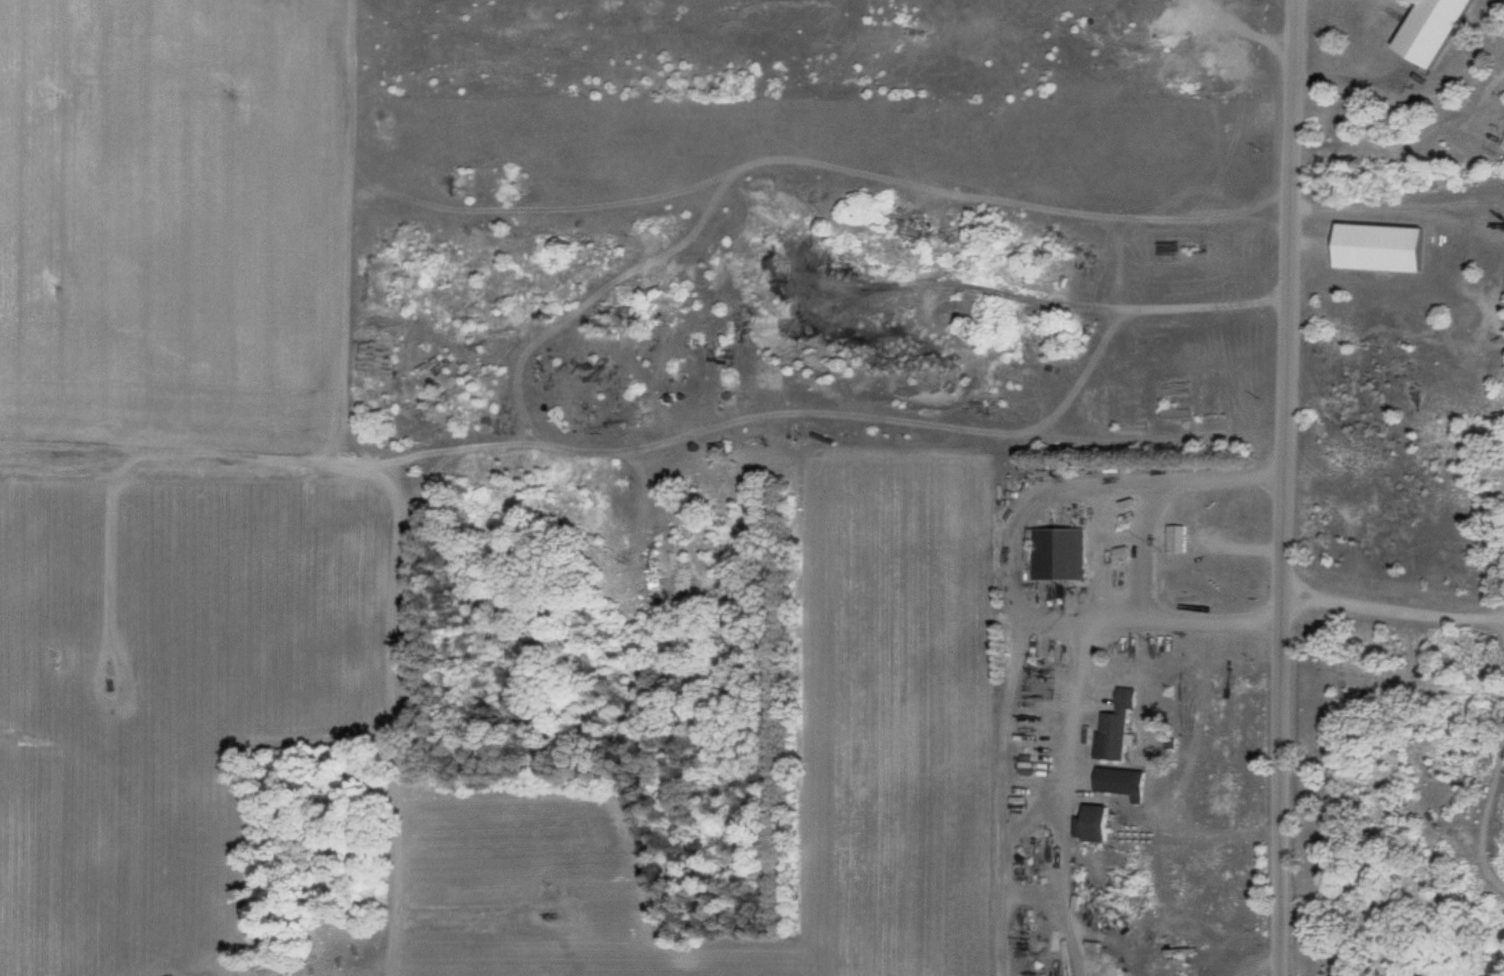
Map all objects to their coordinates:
building: (1435, 29)
building: (1502, 145)
road: (340, 226)
building: (1382, 248)
building: (1174, 413)
road: (174, 462)
road: (1277, 487)
building: (1177, 539)
building: (1058, 555)
building: (1116, 727)
building: (1123, 783)
building: (1097, 824)
building: (1031, 926)

